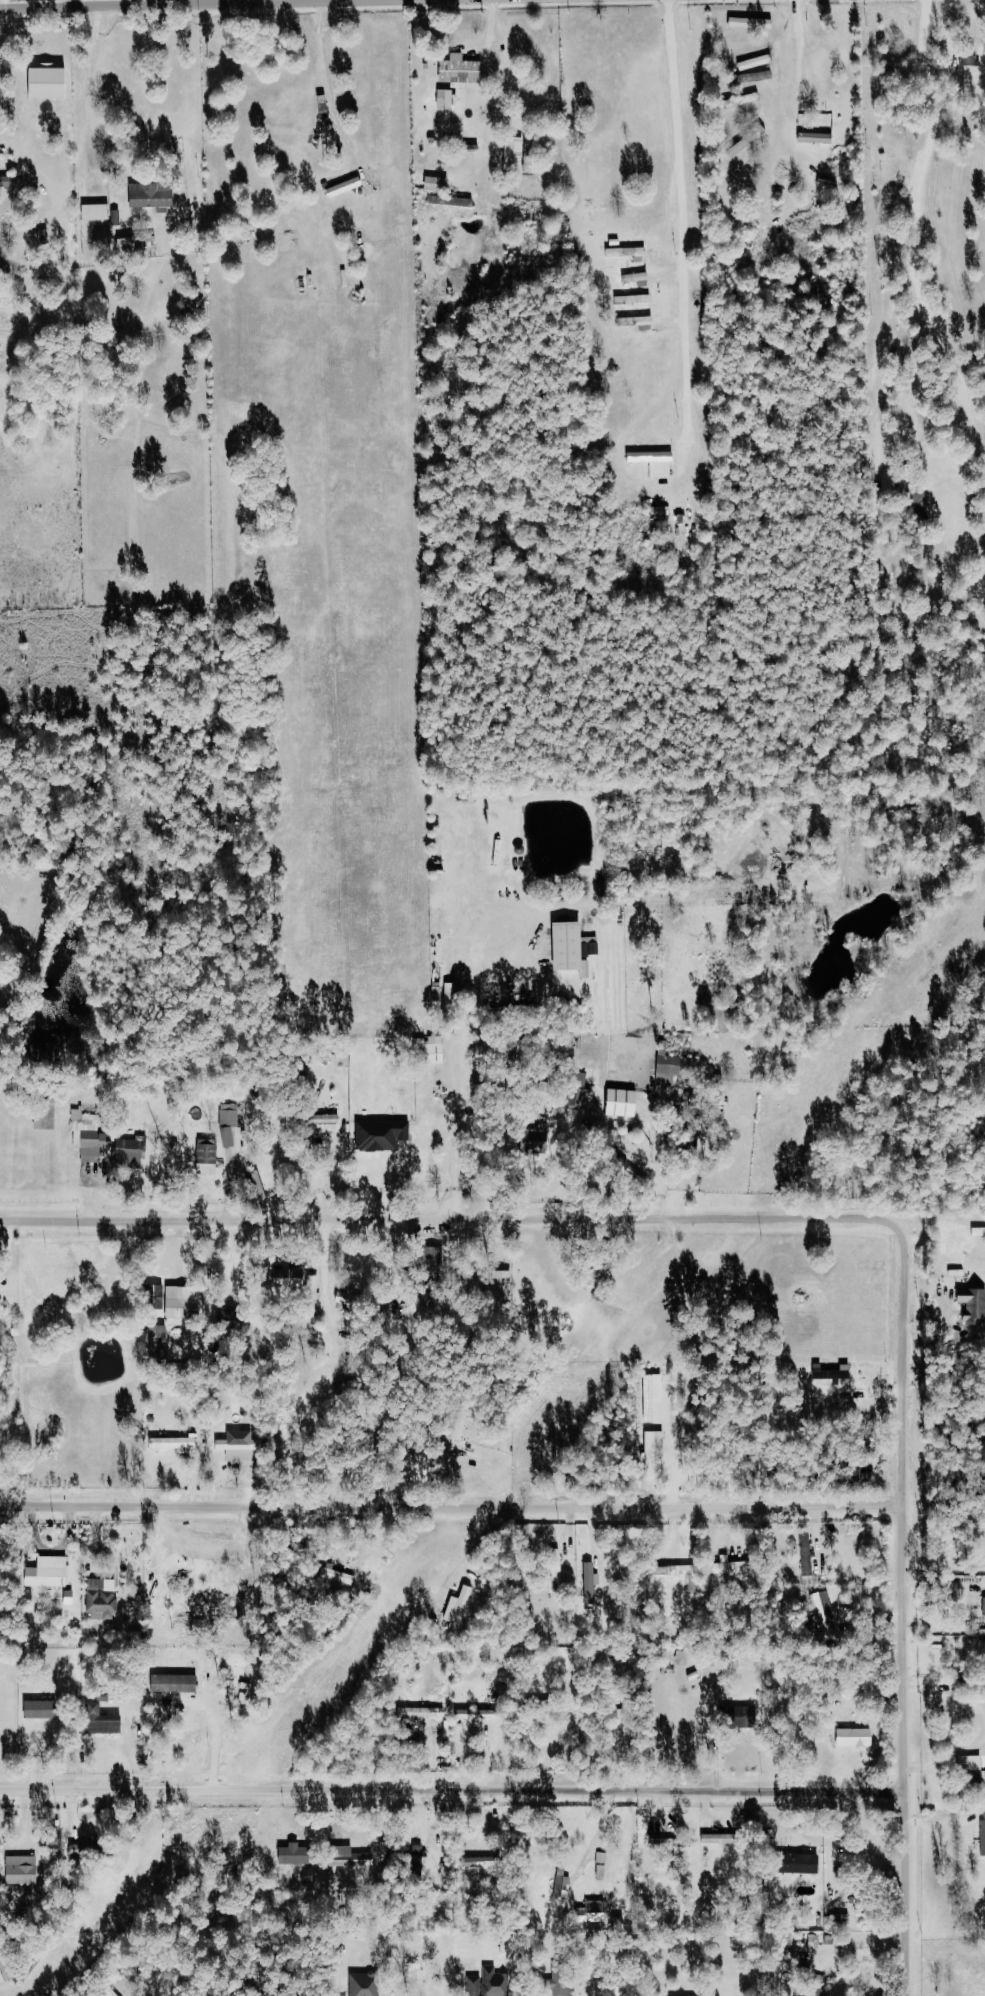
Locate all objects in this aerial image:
road: (234, 4)
building: (739, 24)
building: (745, 49)
road: (803, 50)
building: (973, 61)
building: (758, 62)
building: (464, 70)
building: (757, 78)
building: (54, 83)
road: (92, 95)
building: (448, 99)
building: (746, 102)
building: (328, 115)
building: (820, 138)
building: (775, 152)
building: (518, 154)
building: (440, 183)
building: (348, 187)
building: (155, 195)
building: (454, 201)
road: (924, 209)
building: (100, 212)
road: (692, 224)
building: (142, 247)
building: (632, 253)
building: (640, 279)
building: (637, 299)
building: (643, 322)
building: (659, 463)
building: (921, 497)
building: (663, 513)
building: (578, 949)
building: (454, 993)
building: (435, 1049)
building: (681, 1067)
building: (625, 1103)
building: (327, 1123)
building: (232, 1124)
road: (461, 1125)
building: (91, 1136)
building: (385, 1136)
building: (538, 1142)
building: (134, 1149)
building: (210, 1158)
building: (262, 1188)
road: (862, 1219)
road: (26, 1220)
road: (705, 1240)
road: (766, 1246)
building: (976, 1255)
building: (504, 1290)
building: (358, 1303)
building: (186, 1304)
building: (974, 1306)
building: (178, 1340)
building: (833, 1374)
building: (653, 1392)
building: (240, 1446)
building: (653, 1448)
road: (528, 1509)
road: (76, 1510)
building: (809, 1553)
building: (734, 1566)
building: (680, 1570)
building: (51, 1572)
building: (339, 1574)
building: (594, 1583)
building: (104, 1596)
building: (72, 1597)
building: (218, 1602)
building: (461, 1607)
building: (828, 1612)
building: (178, 1683)
building: (46, 1709)
building: (426, 1712)
building: (480, 1714)
building: (103, 1721)
building: (974, 1769)
road: (124, 1795)
road: (576, 1795)
building: (983, 1837)
building: (725, 1839)
building: (686, 1843)
building: (96, 1849)
building: (356, 1858)
building: (421, 1858)
building: (482, 1861)
building: (806, 1863)
building: (26, 1870)
building: (565, 1881)
building: (596, 1912)
building: (6, 1968)
building: (564, 1979)
building: (491, 1983)
building: (368, 1984)
building: (814, 1995)

